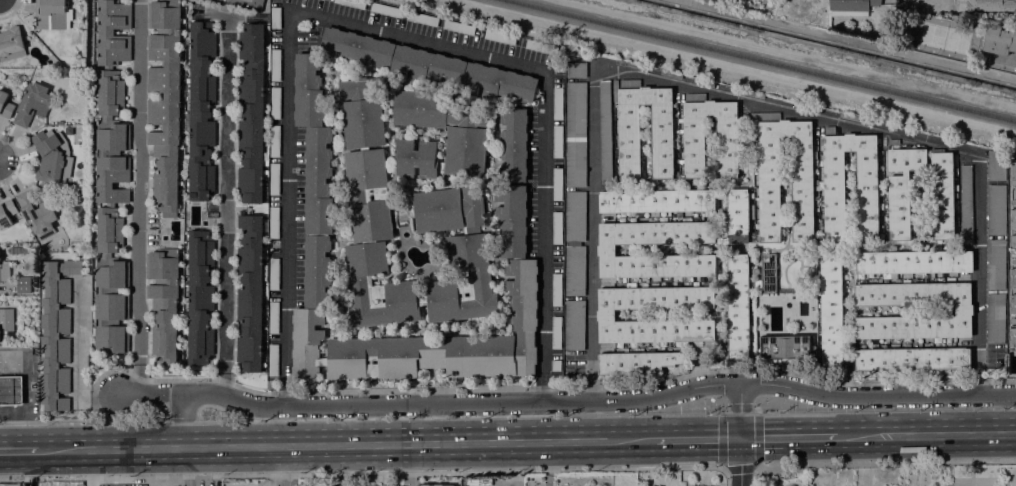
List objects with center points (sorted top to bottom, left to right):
building: (714, 0)
building: (352, 3)
building: (1007, 5)
building: (850, 7)
building: (385, 10)
building: (52, 14)
building: (275, 17)
building: (423, 19)
building: (458, 27)
road: (383, 28)
building: (499, 37)
building: (1000, 40)
building: (11, 44)
building: (357, 47)
building: (540, 47)
road: (1004, 58)
railway: (759, 61)
building: (275, 65)
building: (426, 66)
building: (637, 66)
building: (575, 69)
building: (670, 74)
building: (498, 83)
building: (307, 90)
road: (735, 94)
building: (753, 94)
building: (164, 100)
building: (274, 102)
building: (512, 103)
building: (557, 103)
building: (32, 104)
building: (5, 105)
building: (575, 109)
building: (201, 111)
building: (251, 114)
building: (849, 117)
building: (604, 129)
building: (466, 133)
building: (274, 141)
building: (893, 141)
building: (557, 142)
building: (661, 142)
building: (726, 148)
building: (52, 156)
building: (575, 163)
building: (995, 165)
building: (1013, 172)
building: (801, 174)
building: (273, 178)
building: (111, 181)
building: (318, 181)
building: (833, 181)
building: (556, 184)
road: (139, 199)
building: (656, 201)
building: (1013, 202)
building: (966, 205)
building: (448, 206)
building: (942, 207)
building: (996, 210)
building: (7, 213)
building: (37, 214)
building: (736, 215)
building: (575, 216)
road: (224, 218)
building: (1013, 218)
building: (273, 223)
building: (556, 228)
building: (1013, 245)
building: (317, 246)
building: (606, 249)
building: (913, 261)
building: (1013, 261)
building: (995, 263)
building: (4, 264)
building: (574, 271)
building: (273, 274)
building: (766, 275)
building: (904, 275)
building: (1013, 278)
building: (556, 290)
building: (249, 293)
building: (200, 298)
building: (163, 303)
building: (1013, 304)
building: (737, 306)
building: (831, 310)
building: (963, 311)
building: (605, 314)
building: (273, 318)
building: (995, 319)
building: (6, 320)
building: (1013, 320)
building: (574, 325)
building: (56, 332)
building: (555, 332)
building: (0, 337)
building: (1012, 338)
road: (78, 343)
building: (785, 347)
building: (815, 353)
building: (272, 359)
building: (911, 359)
building: (636, 362)
building: (555, 365)
road: (532, 387)
building: (10, 390)
road: (103, 394)
road: (567, 400)
road: (886, 409)
road: (461, 417)
road: (182, 420)
road: (128, 421)
road: (182, 421)
road: (46, 422)
road: (5, 432)
road: (926, 433)
road: (740, 434)
road: (787, 435)
road: (697, 437)
traffic signals: (740, 437)
road: (346, 444)
road: (18, 450)
road: (549, 463)
road: (886, 463)
road: (407, 464)
road: (515, 464)
road: (288, 466)
road: (90, 467)
road: (722, 467)
road: (679, 469)
road: (143, 475)
road: (755, 475)
building: (15, 484)
building: (435, 484)
building: (708, 485)

